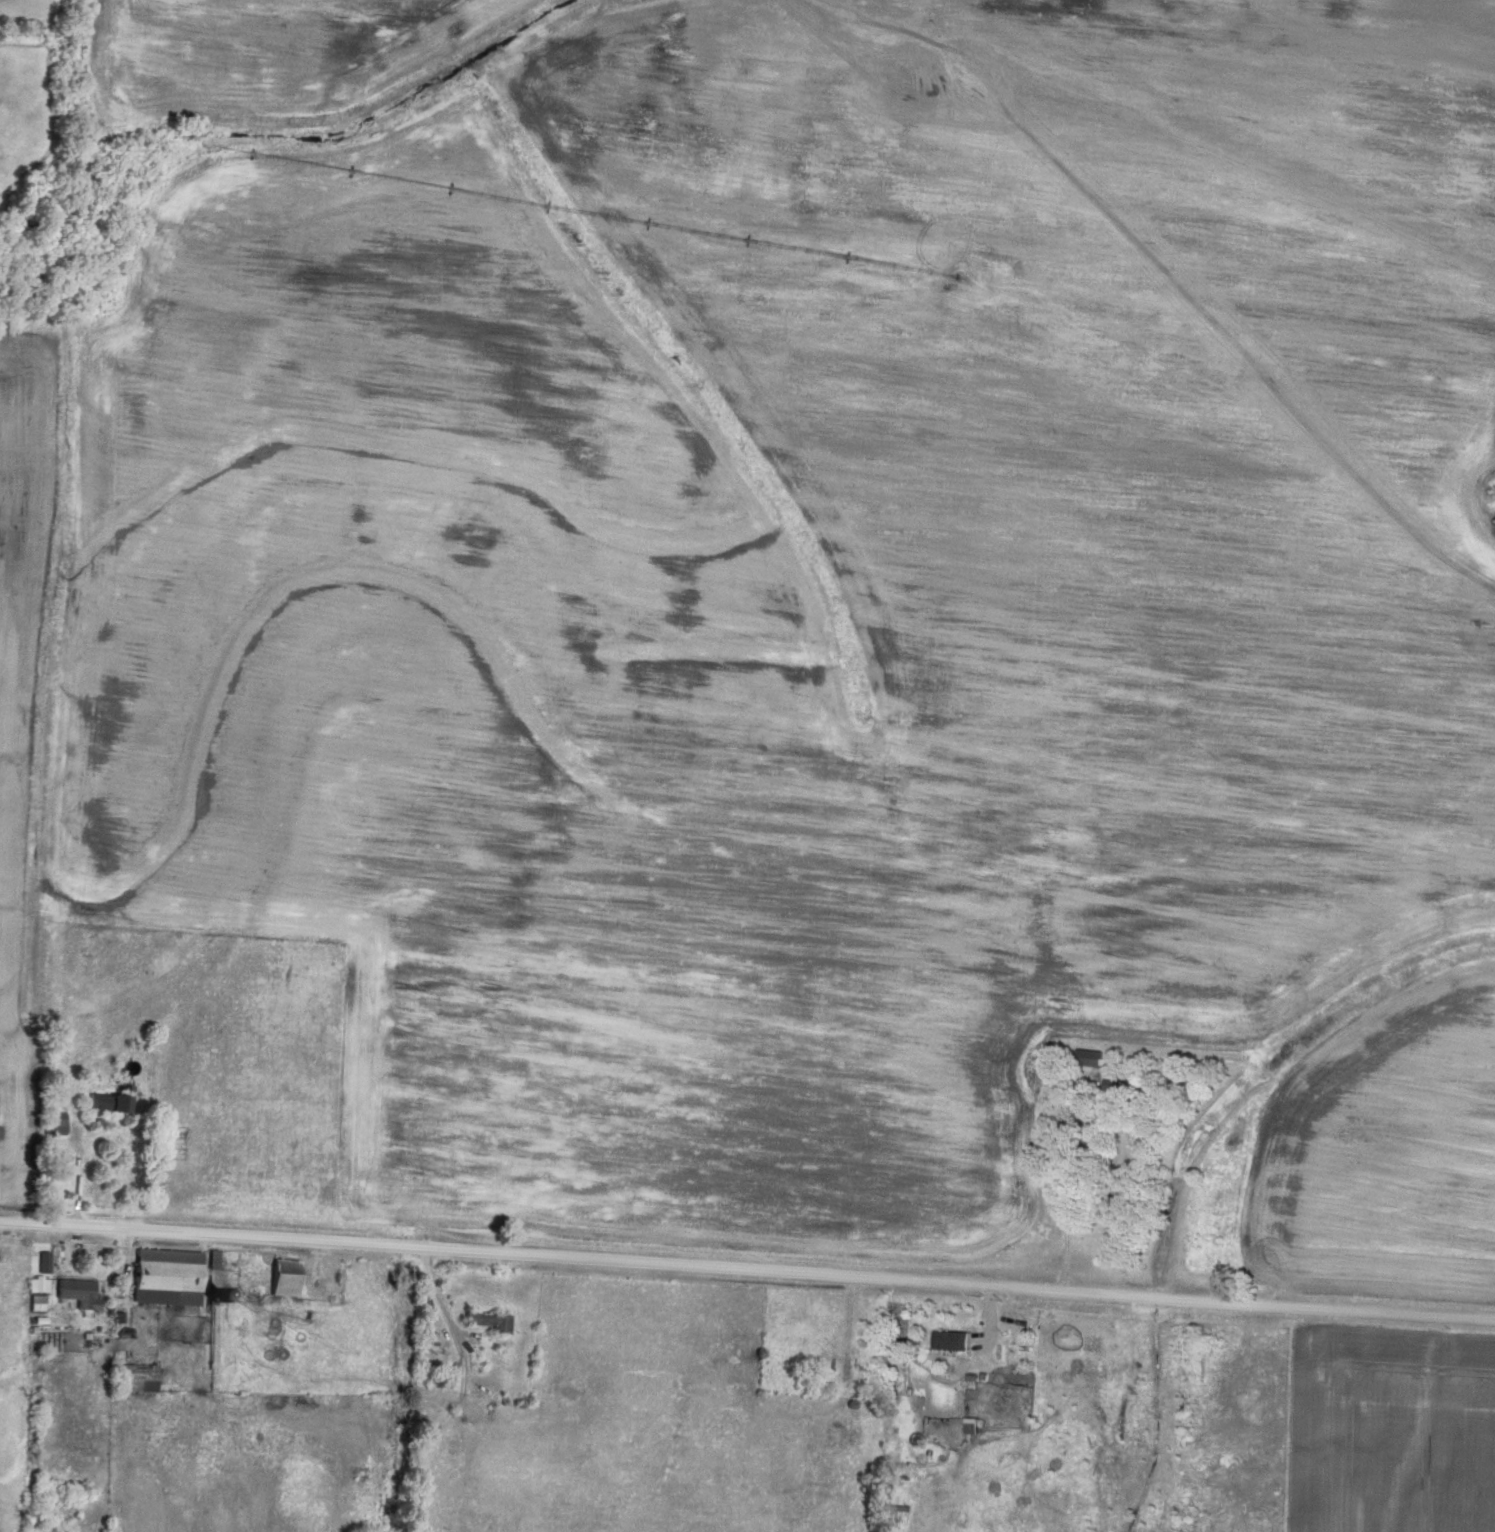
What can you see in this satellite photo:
building: (1093, 1055)
building: (107, 1099)
road: (77, 1166)
building: (212, 1256)
road: (747, 1266)
building: (166, 1274)
building: (284, 1275)
building: (38, 1281)
building: (77, 1289)
road: (214, 1295)
building: (489, 1318)
building: (953, 1337)
building: (139, 1375)

